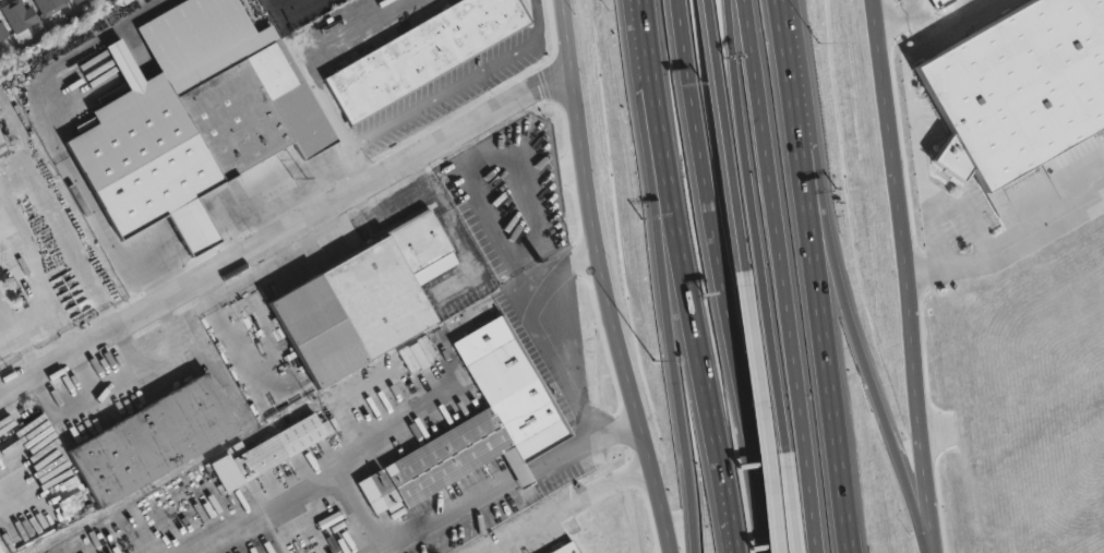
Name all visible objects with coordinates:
building: (70, 0)
building: (73, 0)
building: (49, 5)
road: (783, 5)
building: (16, 14)
road: (295, 24)
building: (2, 31)
road: (939, 37)
building: (423, 55)
road: (317, 65)
road: (471, 87)
building: (1024, 88)
road: (656, 107)
building: (242, 111)
building: (303, 113)
building: (1, 137)
road: (61, 137)
road: (752, 140)
road: (733, 142)
building: (148, 158)
road: (417, 172)
road: (33, 188)
building: (544, 188)
road: (360, 205)
road: (482, 216)
road: (312, 232)
road: (333, 232)
road: (284, 237)
road: (1008, 245)
road: (463, 249)
road: (273, 255)
road: (717, 276)
road: (781, 276)
road: (902, 276)
road: (596, 279)
road: (817, 281)
road: (849, 284)
road: (212, 293)
building: (363, 301)
road: (31, 320)
road: (152, 346)
road: (244, 351)
building: (418, 354)
road: (567, 361)
road: (720, 380)
road: (681, 384)
road: (103, 387)
road: (58, 409)
road: (421, 412)
road: (792, 416)
road: (773, 418)
building: (479, 420)
building: (154, 440)
building: (285, 444)
road: (508, 479)
road: (365, 509)
road: (567, 509)
building: (607, 540)

